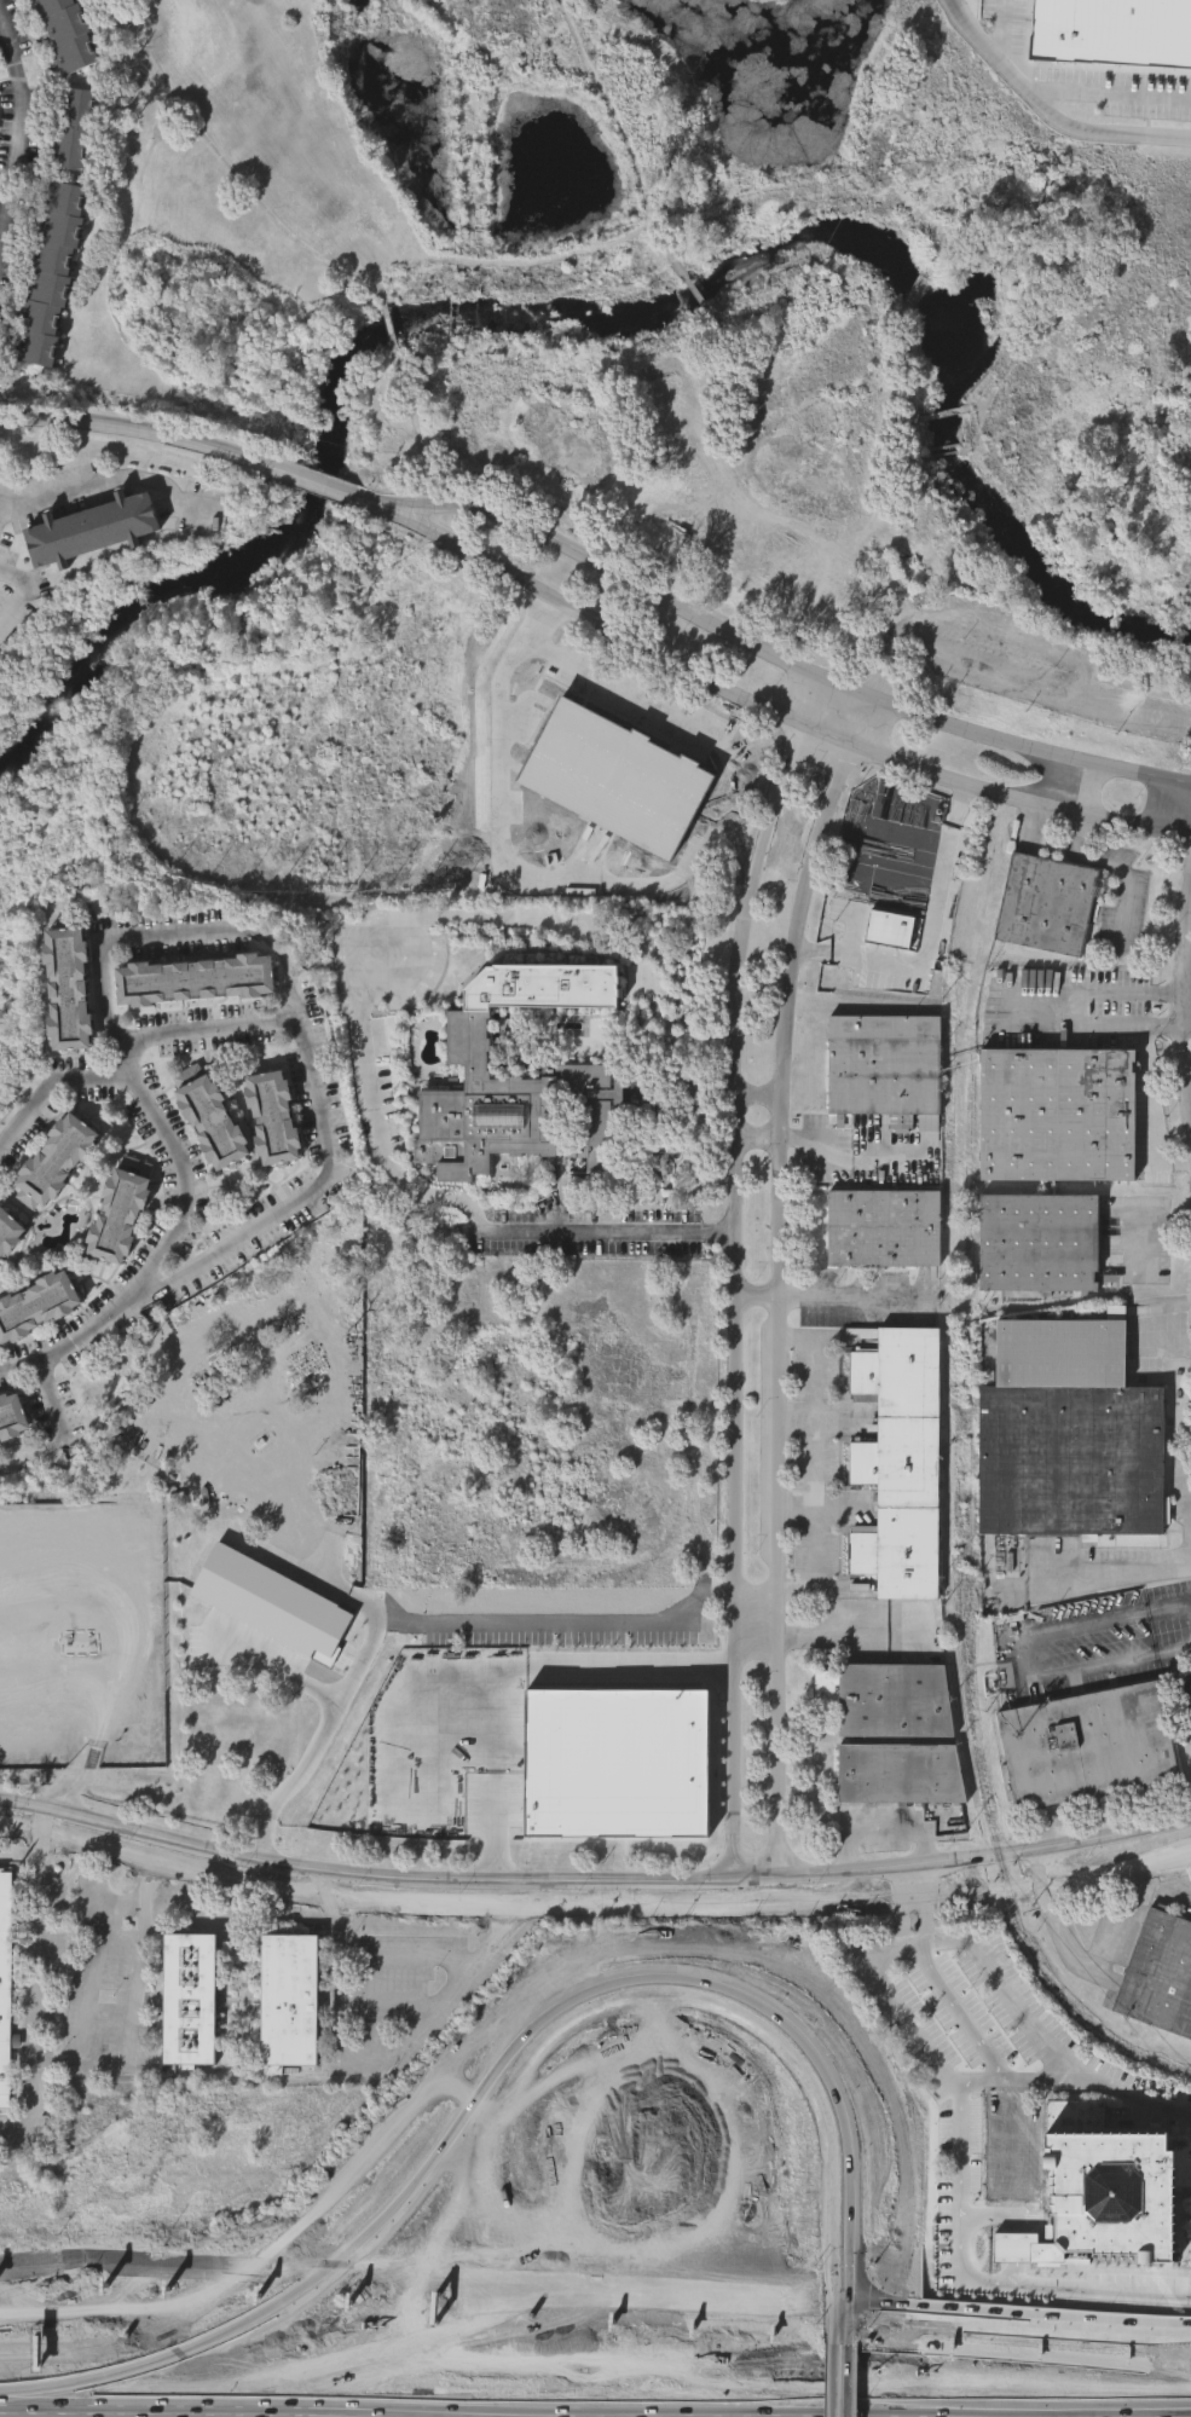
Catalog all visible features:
road: (965, 8)
building: (68, 33)
building: (1114, 35)
road: (1111, 94)
road: (1047, 110)
road: (22, 126)
building: (74, 126)
building: (51, 272)
road: (135, 430)
road: (311, 481)
road: (106, 484)
road: (370, 502)
road: (4, 508)
building: (646, 524)
building: (89, 526)
building: (748, 557)
road: (25, 594)
road: (878, 658)
road: (781, 659)
road: (1086, 663)
road: (638, 700)
road: (525, 704)
road: (1127, 710)
road: (771, 715)
road: (1031, 826)
road: (584, 857)
road: (1089, 861)
road: (509, 877)
building: (1047, 903)
road: (747, 927)
building: (890, 929)
road: (170, 932)
road: (929, 938)
road: (796, 939)
building: (192, 978)
building: (68, 988)
road: (1170, 993)
road: (1017, 1010)
road: (1170, 1024)
building: (884, 1064)
road: (756, 1094)
building: (507, 1112)
road: (319, 1115)
building: (1056, 1115)
building: (208, 1116)
building: (274, 1117)
road: (810, 1151)
building: (54, 1160)
railway: (947, 1175)
road: (185, 1185)
road: (439, 1195)
building: (118, 1215)
building: (884, 1227)
building: (10, 1231)
road: (1155, 1231)
building: (1039, 1245)
road: (832, 1299)
building: (36, 1302)
railway: (972, 1343)
road: (50, 1398)
road: (796, 1419)
building: (12, 1423)
building: (1068, 1434)
building: (898, 1465)
road: (819, 1474)
road: (1189, 1505)
road: (794, 1509)
road: (730, 1548)
road: (770, 1548)
road: (1092, 1583)
road: (337, 1588)
road: (451, 1630)
road: (851, 1638)
road: (1019, 1655)
road: (281, 1672)
road: (518, 1676)
building: (889, 1699)
railway: (972, 1725)
building: (1088, 1746)
building: (901, 1774)
road: (75, 1775)
road: (45, 1816)
road: (1047, 1867)
road: (1179, 1880)
road: (919, 1883)
road: (592, 1884)
road: (340, 1890)
road: (592, 1908)
road: (902, 1920)
road: (931, 1924)
road: (114, 1942)
road: (496, 1945)
parking lot: (64, 1956)
road: (464, 1960)
parking lot: (88, 1966)
parking lot: (410, 1966)
road: (1098, 1974)
building: (1160, 1976)
parking lot: (123, 1977)
building: (13, 1982)
building: (212, 1987)
building: (306, 1987)
road: (46, 1999)
road: (415, 2001)
road: (144, 2002)
building: (187, 2003)
parking lot: (387, 2012)
road: (949, 2080)
road: (1007, 2087)
parking lot: (50, 2093)
road: (790, 2122)
building: (1114, 2184)
road: (417, 2283)
road: (1013, 2314)
road: (836, 2328)
road: (850, 2328)
road: (850, 2381)
road: (836, 2382)
road: (568, 2410)
road: (1164, 2412)

